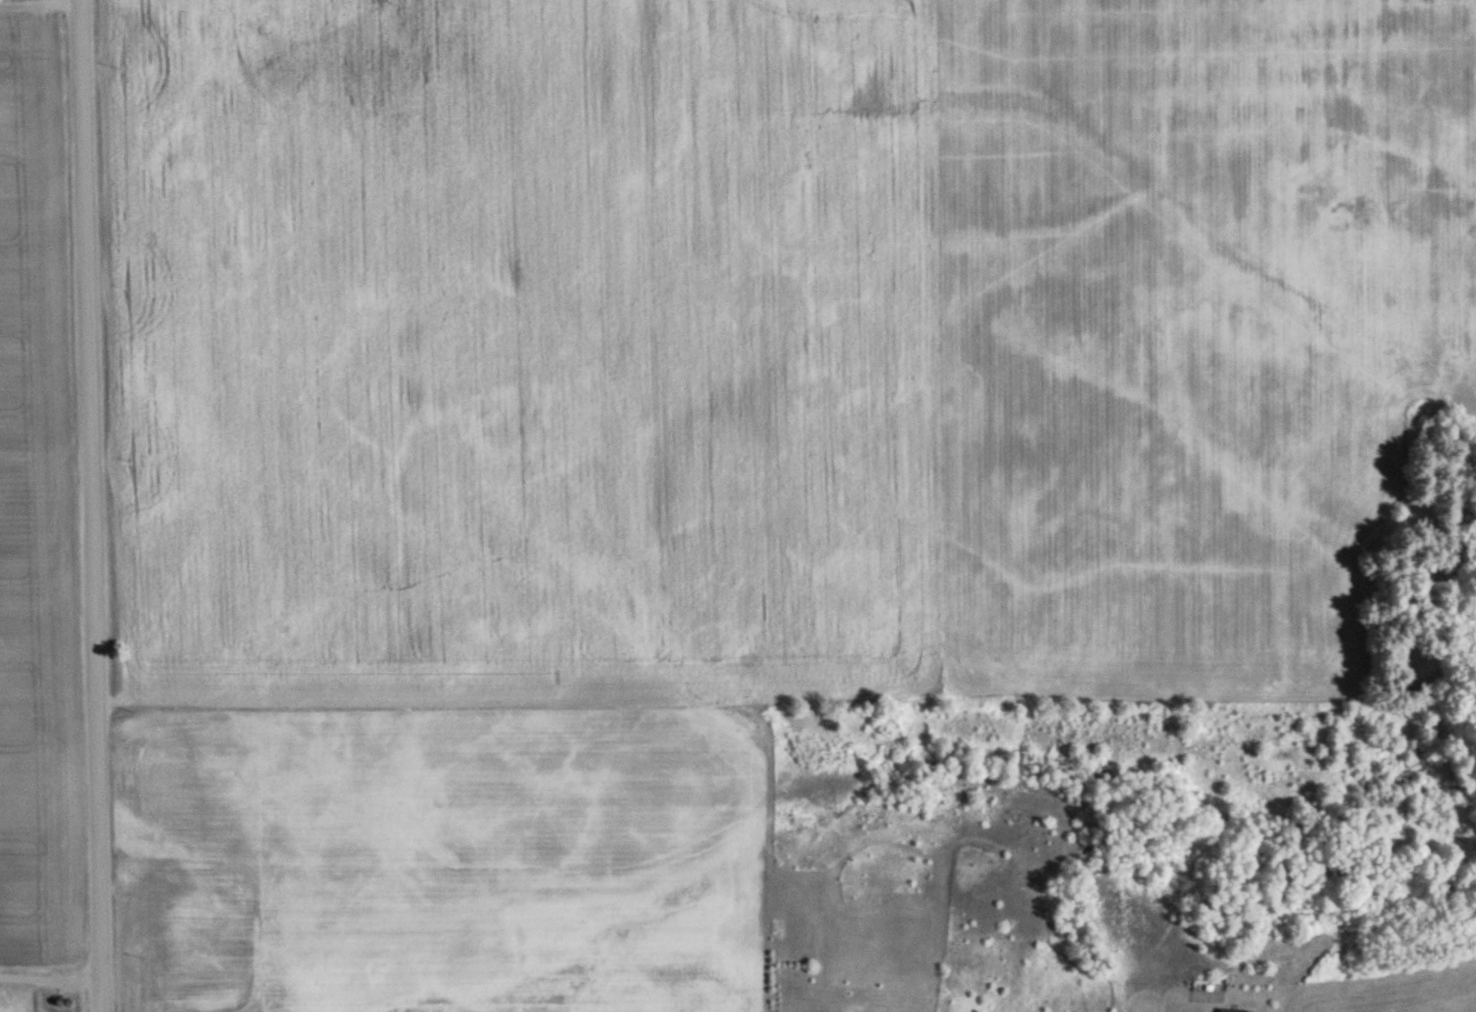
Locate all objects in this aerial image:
road: (91, 506)
building: (180, 919)
building: (1234, 1010)

